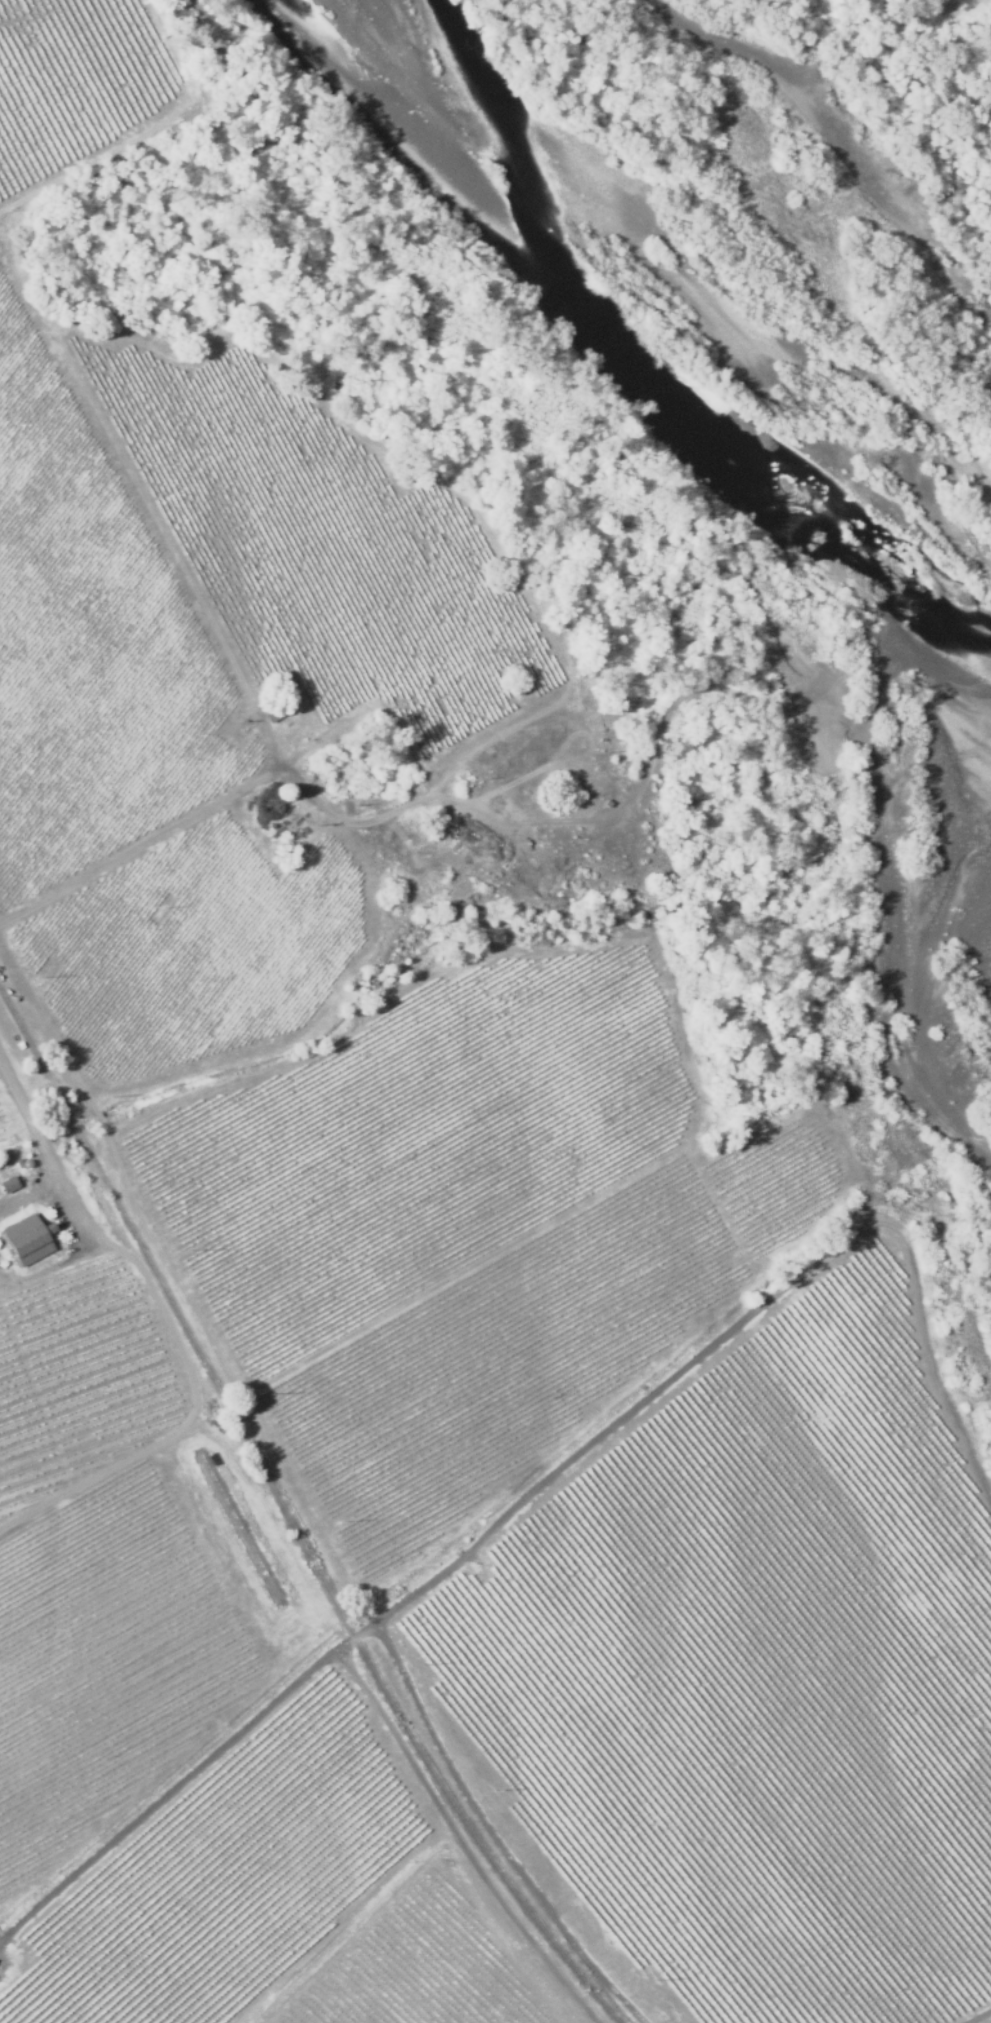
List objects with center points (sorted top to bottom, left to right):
river: (644, 254)
building: (268, 709)
road: (134, 855)
building: (9, 1186)
building: (28, 1240)
railway: (288, 1521)
road: (453, 1565)

